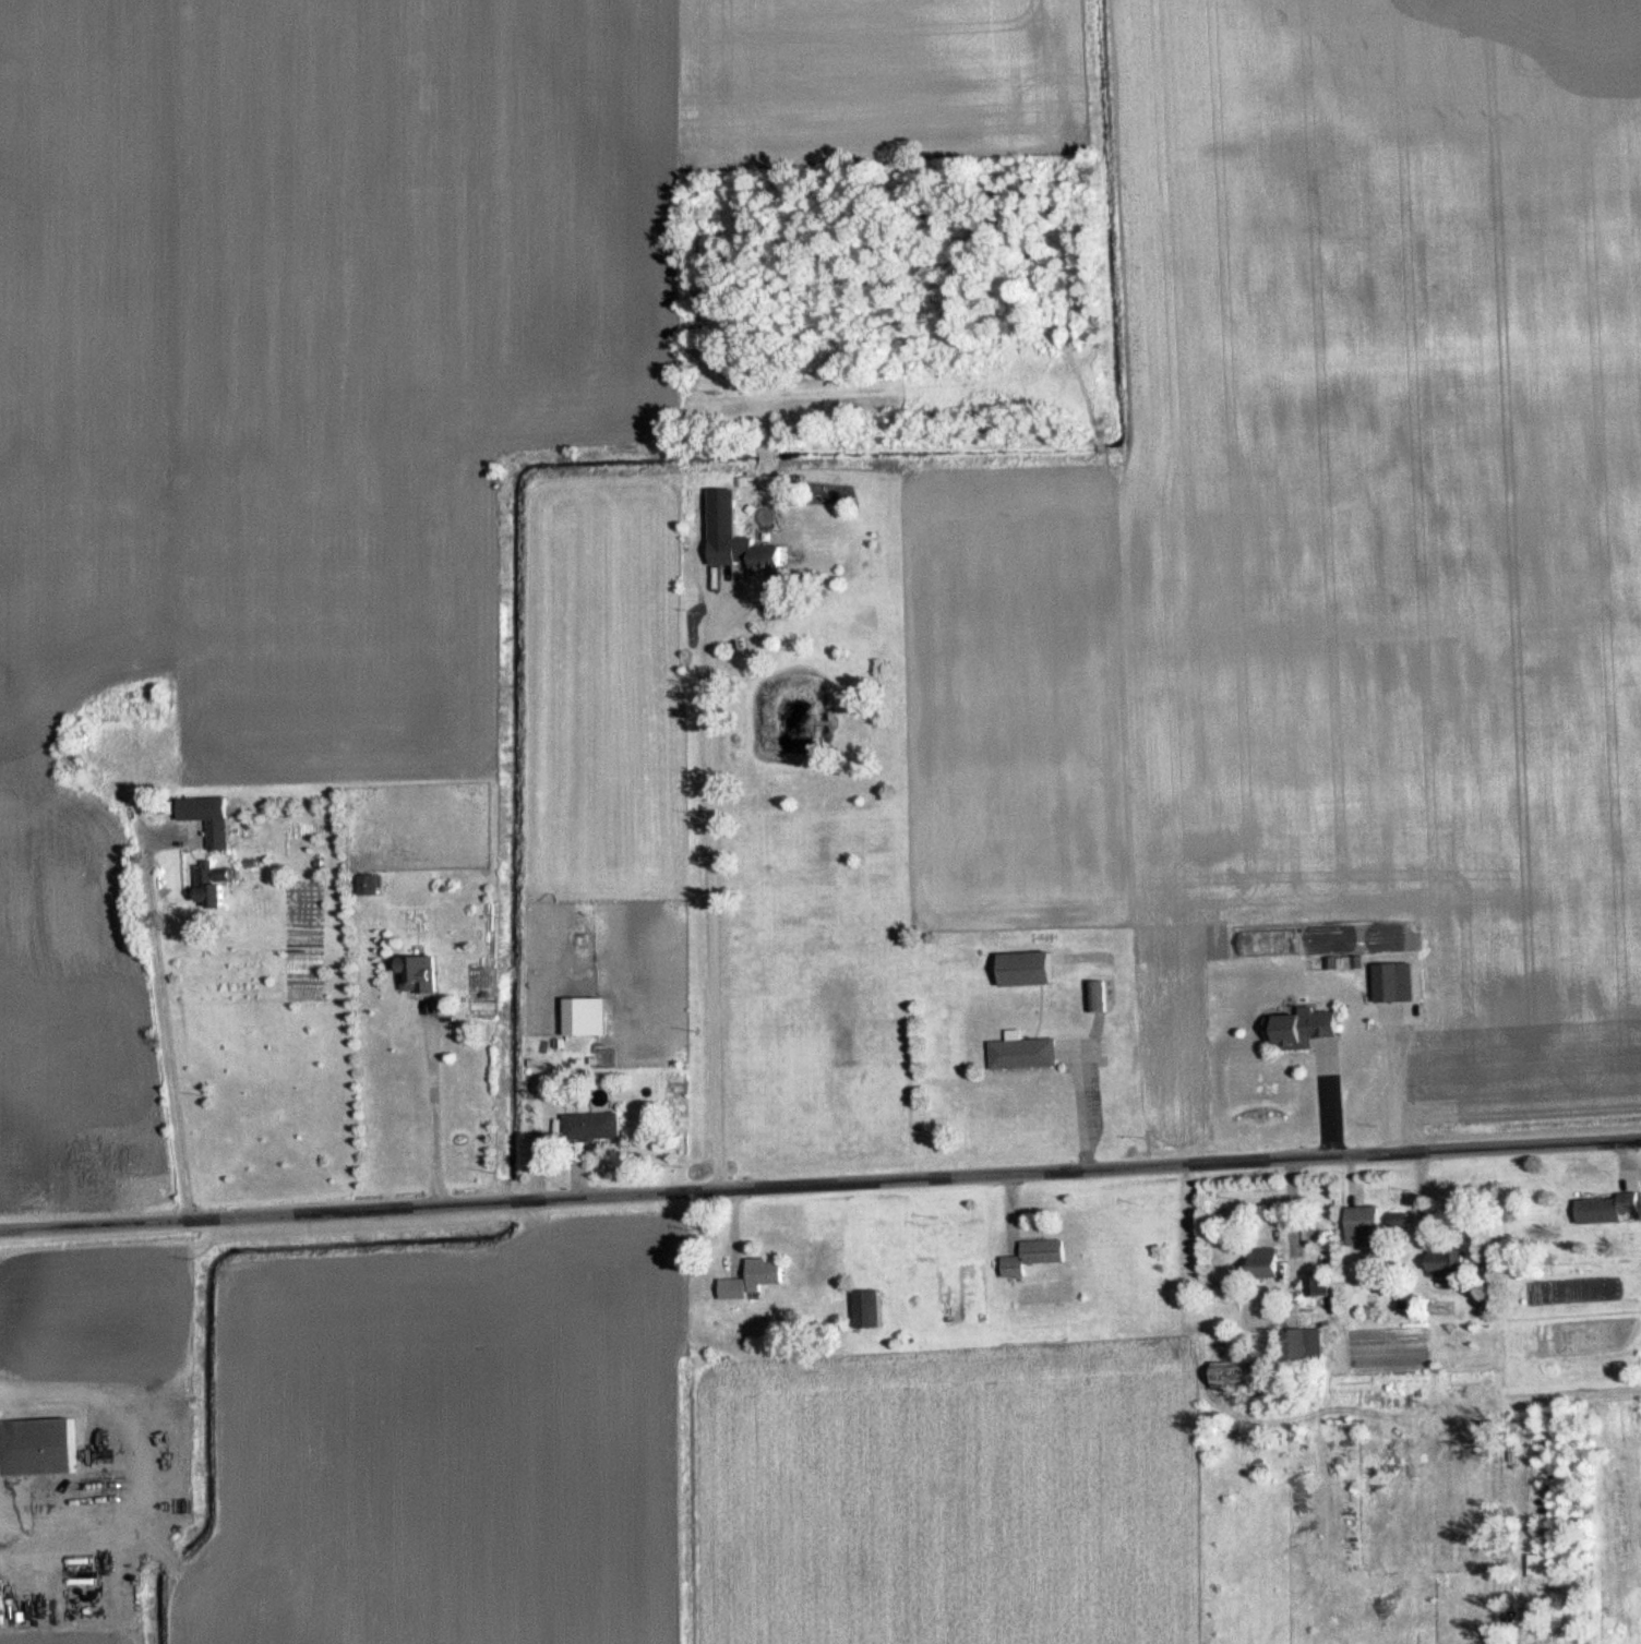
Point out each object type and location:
building: (746, 552)
building: (218, 832)
road: (710, 883)
building: (371, 884)
building: (213, 885)
building: (1027, 968)
building: (421, 972)
building: (1389, 981)
building: (1095, 995)
building: (580, 1016)
building: (1306, 1028)
road: (166, 1029)
building: (1023, 1052)
road: (1377, 1081)
road: (434, 1106)
road: (1078, 1107)
building: (594, 1126)
road: (820, 1183)
building: (1610, 1208)
building: (1363, 1220)
building: (1398, 1220)
building: (1034, 1257)
building: (1266, 1261)
building: (1448, 1262)
building: (754, 1280)
building: (1318, 1284)
building: (869, 1308)
building: (1302, 1344)
building: (43, 1445)

